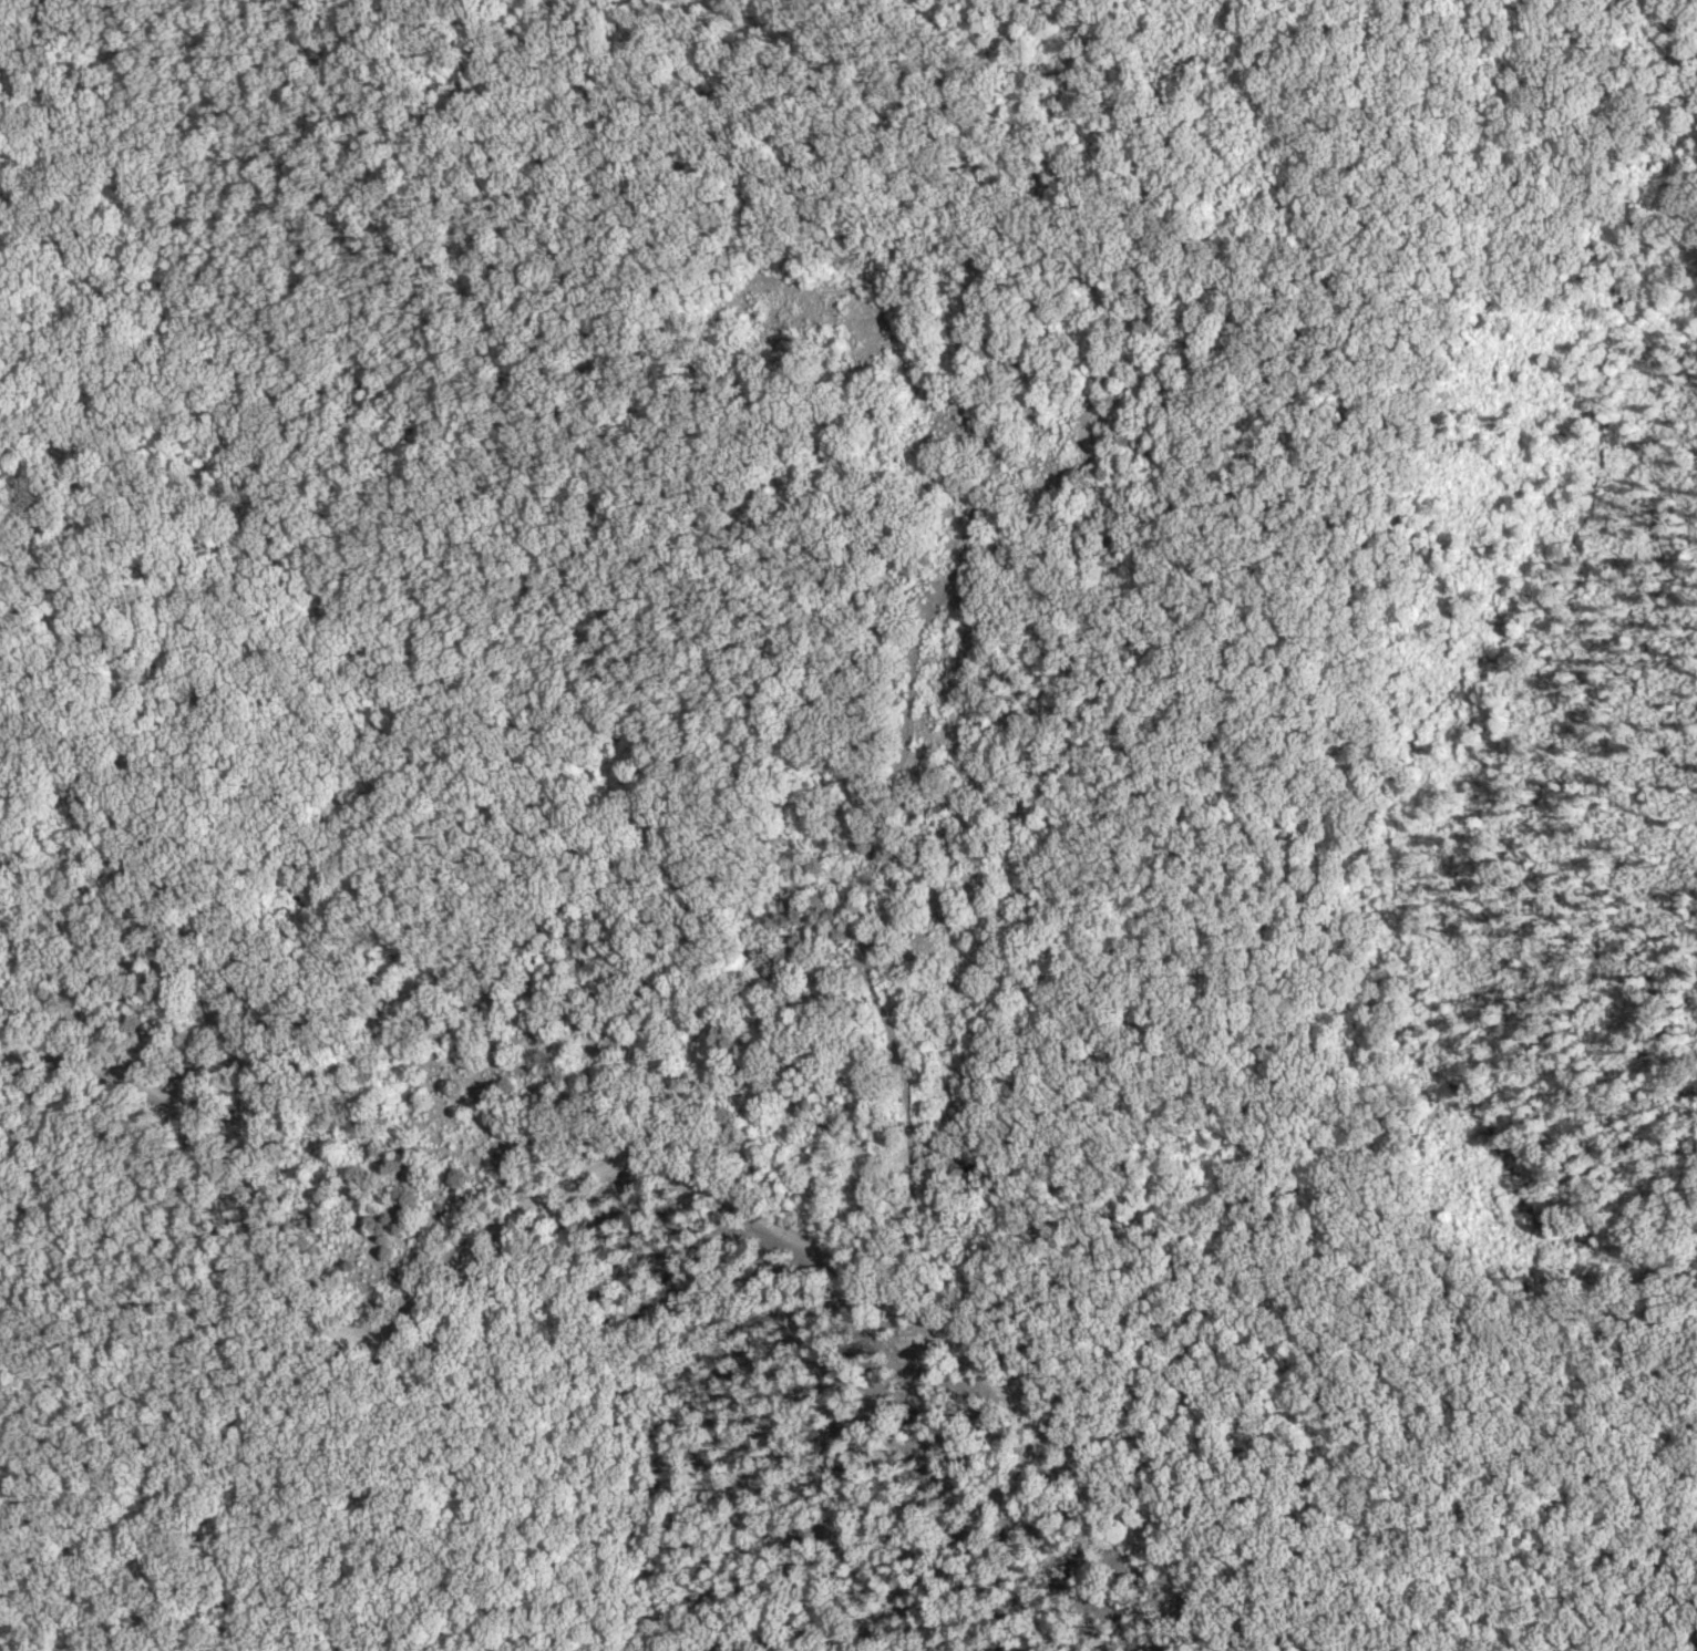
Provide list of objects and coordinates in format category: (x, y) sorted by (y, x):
road: (587, 1146)

